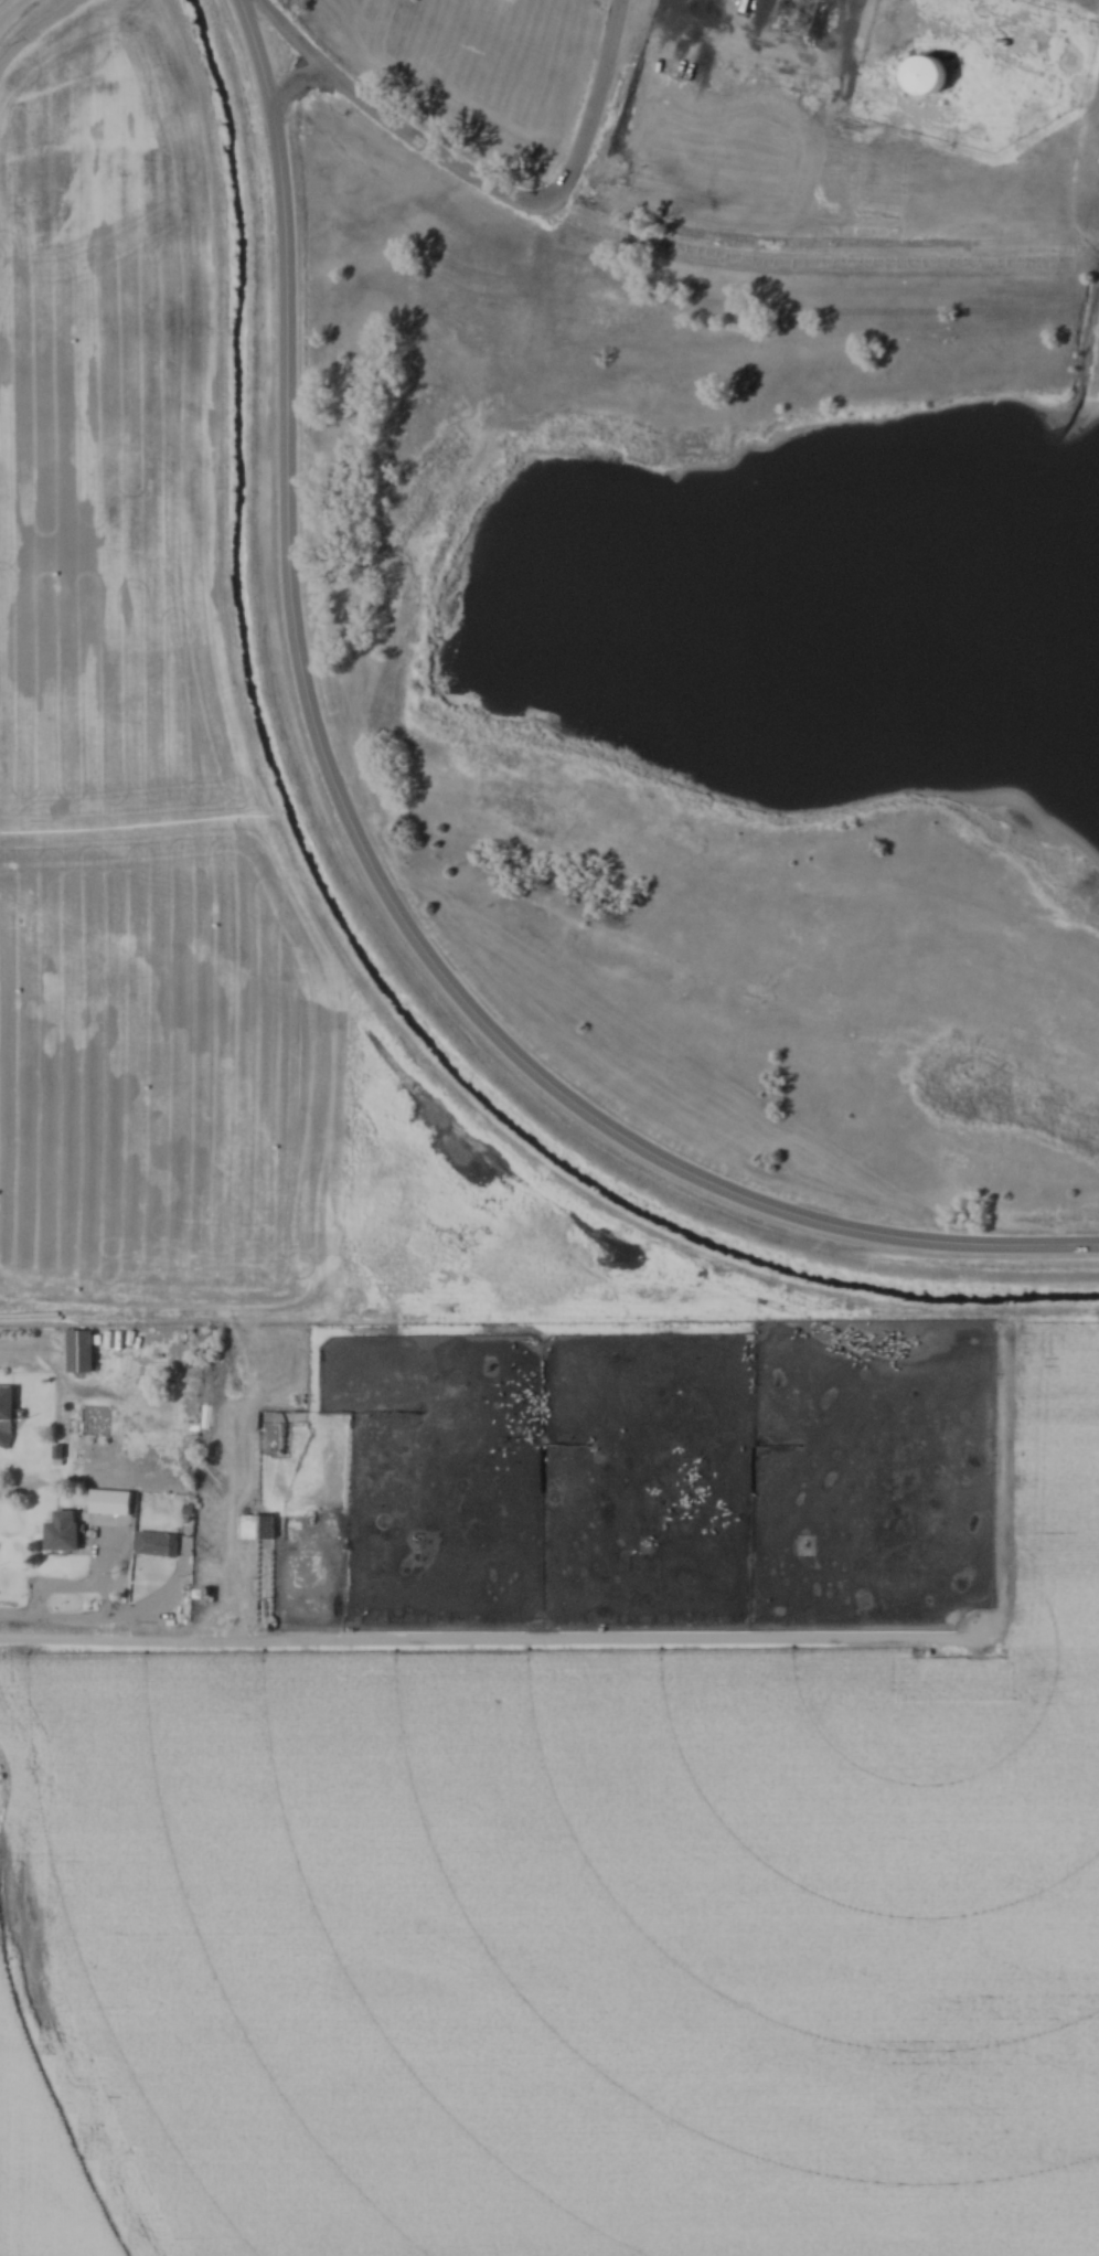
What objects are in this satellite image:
road: (10, 9)
road: (1016, 23)
building: (922, 77)
road: (294, 83)
road: (481, 180)
crop: (140, 727)
road: (366, 860)
building: (83, 1345)
building: (7, 1400)
building: (114, 1498)
building: (255, 1526)
building: (61, 1532)
building: (156, 1544)
road: (83, 1587)
crop: (569, 1938)

